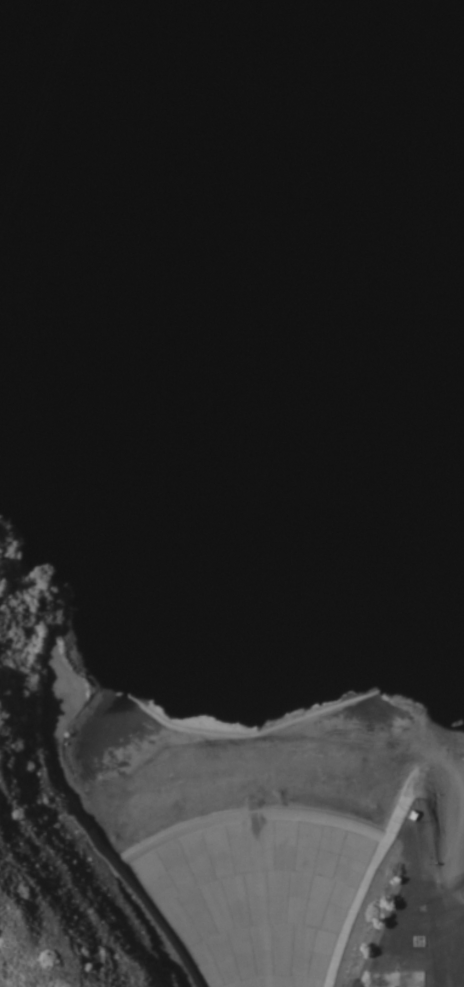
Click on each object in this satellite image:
river: (454, 3)
river: (188, 307)
dam: (259, 800)
river: (255, 810)
road: (455, 893)

